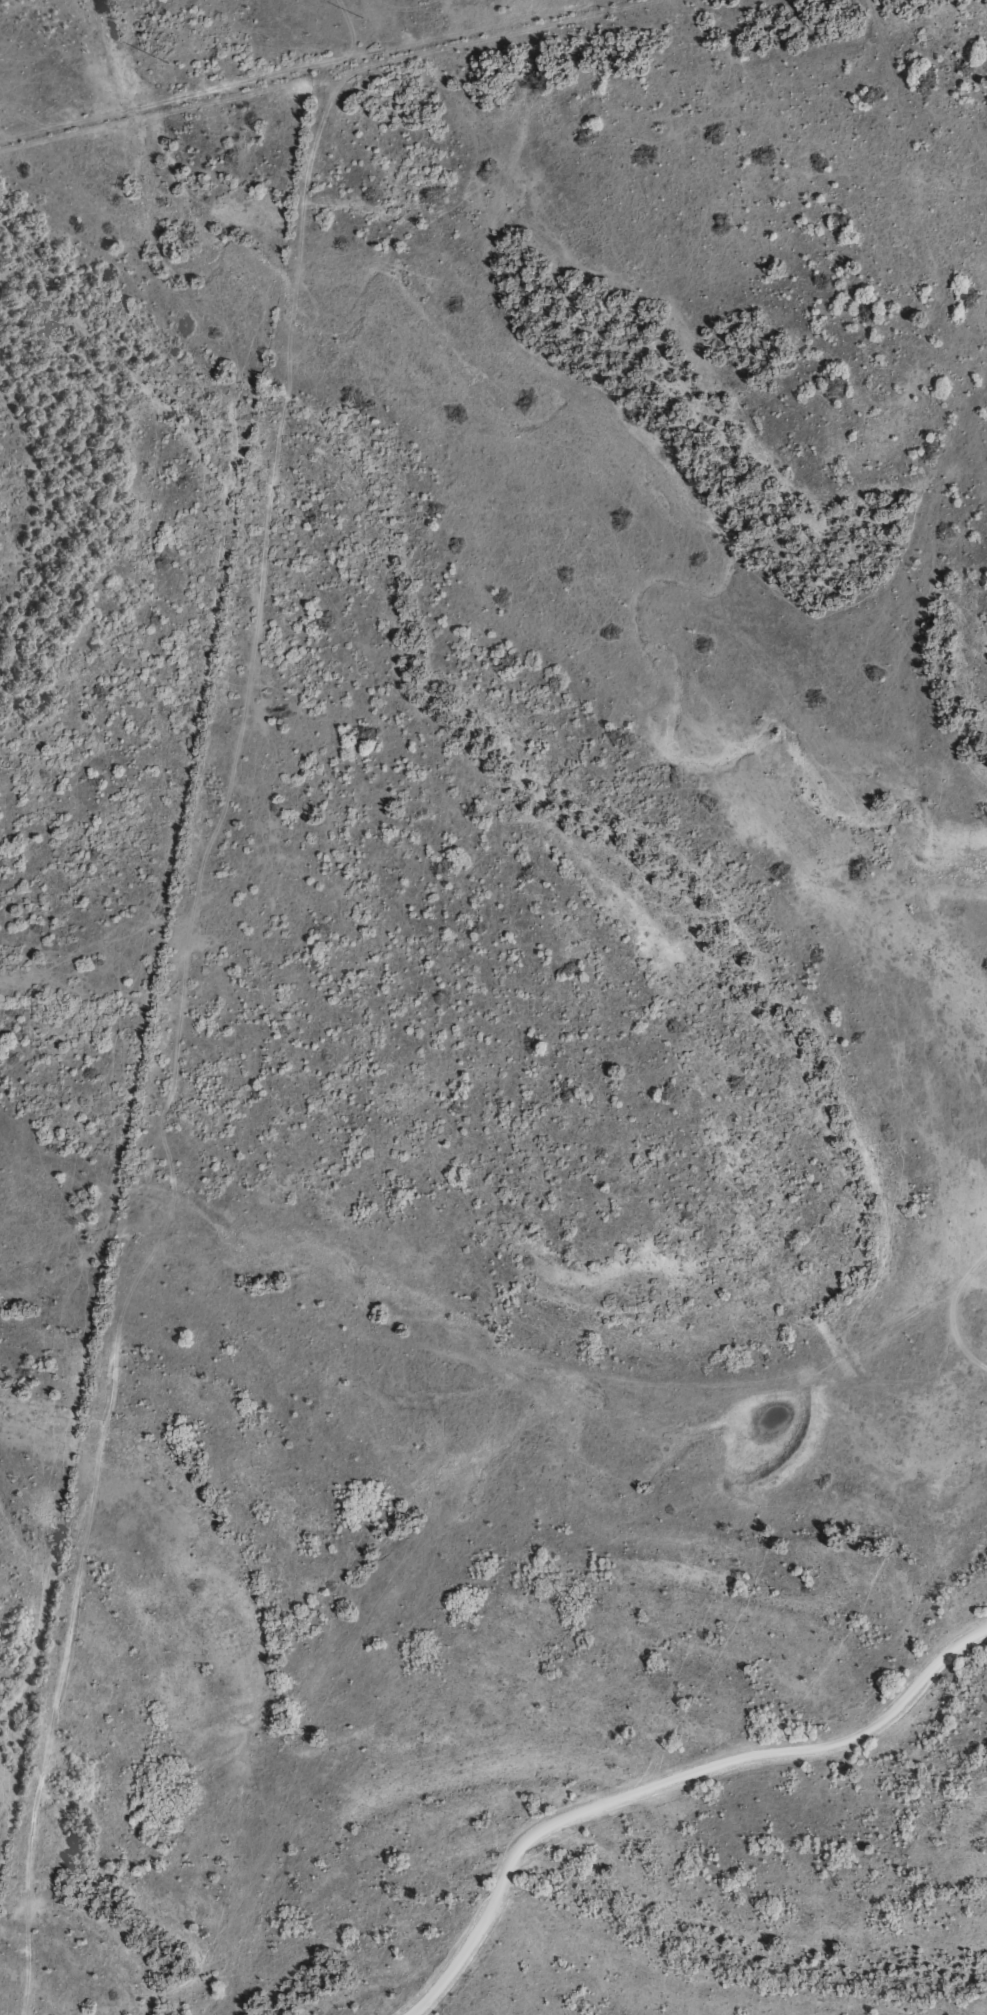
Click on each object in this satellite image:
road: (665, 1778)

